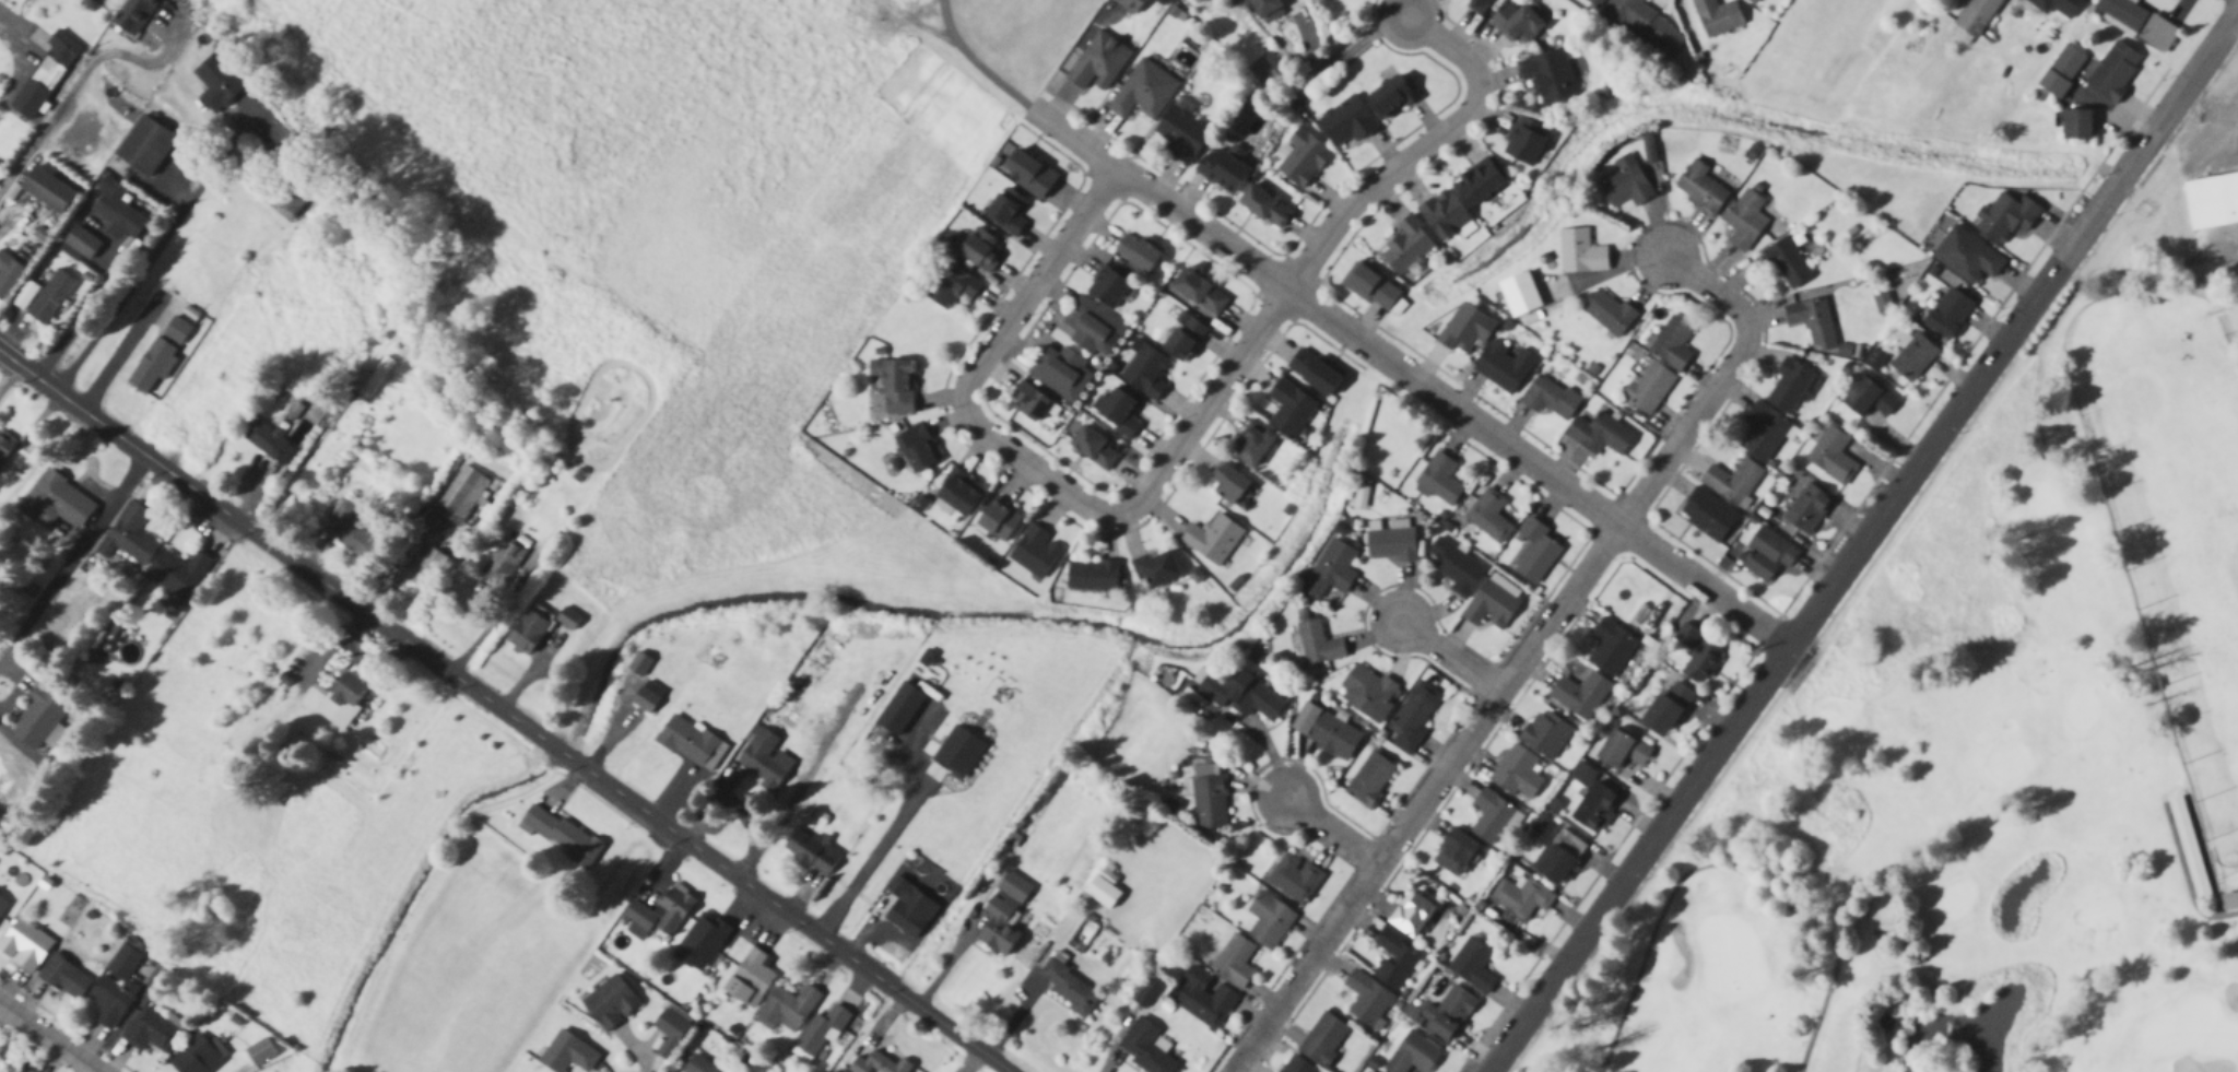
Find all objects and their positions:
building: (1752, 1)
building: (1595, 2)
building: (1130, 4)
building: (1480, 5)
building: (1268, 10)
building: (2121, 13)
building: (134, 15)
building: (1717, 16)
building: (1974, 19)
building: (1518, 24)
building: (1642, 24)
road: (1339, 49)
road: (971, 60)
building: (1098, 63)
road: (73, 71)
building: (2061, 71)
building: (2113, 71)
building: (45, 76)
building: (1550, 78)
building: (220, 83)
building: (1144, 92)
building: (1391, 96)
building: (1346, 122)
building: (2075, 125)
building: (1182, 134)
building: (1526, 142)
building: (145, 146)
road: (1420, 149)
building: (1303, 158)
building: (1224, 170)
building: (1027, 174)
building: (1479, 182)
building: (1626, 184)
building: (1700, 189)
building: (47, 190)
building: (2212, 198)
building: (286, 199)
building: (1264, 207)
building: (1008, 211)
building: (1444, 214)
building: (118, 216)
building: (2006, 216)
building: (1745, 220)
building: (81, 243)
building: (1406, 246)
building: (975, 249)
building: (1138, 252)
building: (1580, 252)
road: (156, 254)
building: (1967, 256)
building: (1788, 262)
building: (9, 274)
building: (951, 285)
building: (1370, 286)
building: (1108, 287)
building: (1200, 291)
building: (50, 297)
building: (1610, 310)
building: (1948, 313)
road: (79, 315)
building: (1813, 322)
building: (1094, 329)
building: (1465, 329)
building: (1183, 338)
building: (1672, 343)
road: (114, 347)
building: (163, 351)
building: (1913, 357)
building: (1504, 367)
road: (8, 372)
building: (1146, 373)
building: (1314, 373)
building: (1062, 374)
road: (1410, 374)
building: (370, 379)
building: (1789, 386)
building: (892, 387)
building: (1649, 388)
building: (1550, 398)
building: (1869, 399)
building: (1029, 402)
building: (1289, 409)
building: (1119, 413)
building: (1763, 433)
building: (1600, 435)
building: (269, 444)
building: (1252, 445)
building: (5, 447)
building: (917, 449)
building: (1095, 449)
building: (1833, 455)
road: (1038, 469)
building: (1440, 480)
building: (1733, 482)
building: (1228, 483)
building: (959, 492)
building: (463, 493)
building: (62, 497)
building: (1807, 509)
building: (1707, 514)
building: (1489, 516)
building: (999, 520)
building: (353, 531)
building: (132, 534)
building: (1213, 539)
building: (1391, 542)
road: (1864, 545)
road: (69, 549)
building: (1534, 551)
building: (1035, 552)
building: (1767, 553)
building: (503, 564)
building: (424, 567)
building: (1457, 567)
building: (1156, 569)
building: (1330, 570)
building: (178, 573)
building: (1093, 576)
building: (1493, 603)
building: (542, 625)
building: (1686, 636)
building: (1318, 641)
building: (1611, 647)
road: (1450, 656)
road: (1526, 657)
building: (1703, 659)
building: (690, 668)
building: (644, 685)
building: (1368, 692)
building: (1239, 693)
building: (1580, 695)
building: (343, 703)
building: (1665, 707)
road: (499, 716)
building: (1414, 717)
building: (40, 720)
building: (1326, 731)
building: (1546, 734)
park: (1994, 734)
building: (691, 743)
building: (1623, 747)
building: (764, 757)
building: (1518, 775)
building: (1371, 779)
building: (1210, 797)
building: (1594, 803)
building: (1492, 817)
road: (1334, 829)
building: (559, 837)
building: (2190, 846)
building: (811, 852)
building: (1559, 852)
building: (1456, 853)
road: (862, 859)
road: (1729, 869)
building: (1295, 879)
road: (2183, 881)
building: (1102, 893)
building: (1522, 894)
building: (2229, 898)
building: (2, 907)
building: (675, 908)
building: (909, 908)
building: (1003, 915)
building: (1411, 915)
building: (1269, 921)
building: (24, 945)
building: (1394, 959)
building: (1474, 959)
building: (1235, 962)
building: (66, 978)
building: (750, 979)
building: (1069, 987)
building: (1204, 999)
building: (1367, 1000)
building: (109, 1002)
building: (611, 1003)
building: (1881, 1003)
building: (787, 1009)
building: (1450, 1010)
building: (1885, 1018)
building: (152, 1030)
building: (671, 1030)
building: (822, 1032)
road: (48, 1037)
building: (1323, 1039)
building: (1145, 1048)
building: (259, 1052)
building: (1414, 1052)
building: (568, 1053)
building: (198, 1057)
building: (880, 1064)
building: (699, 1065)
building: (1297, 1065)
building: (1365, 1071)

